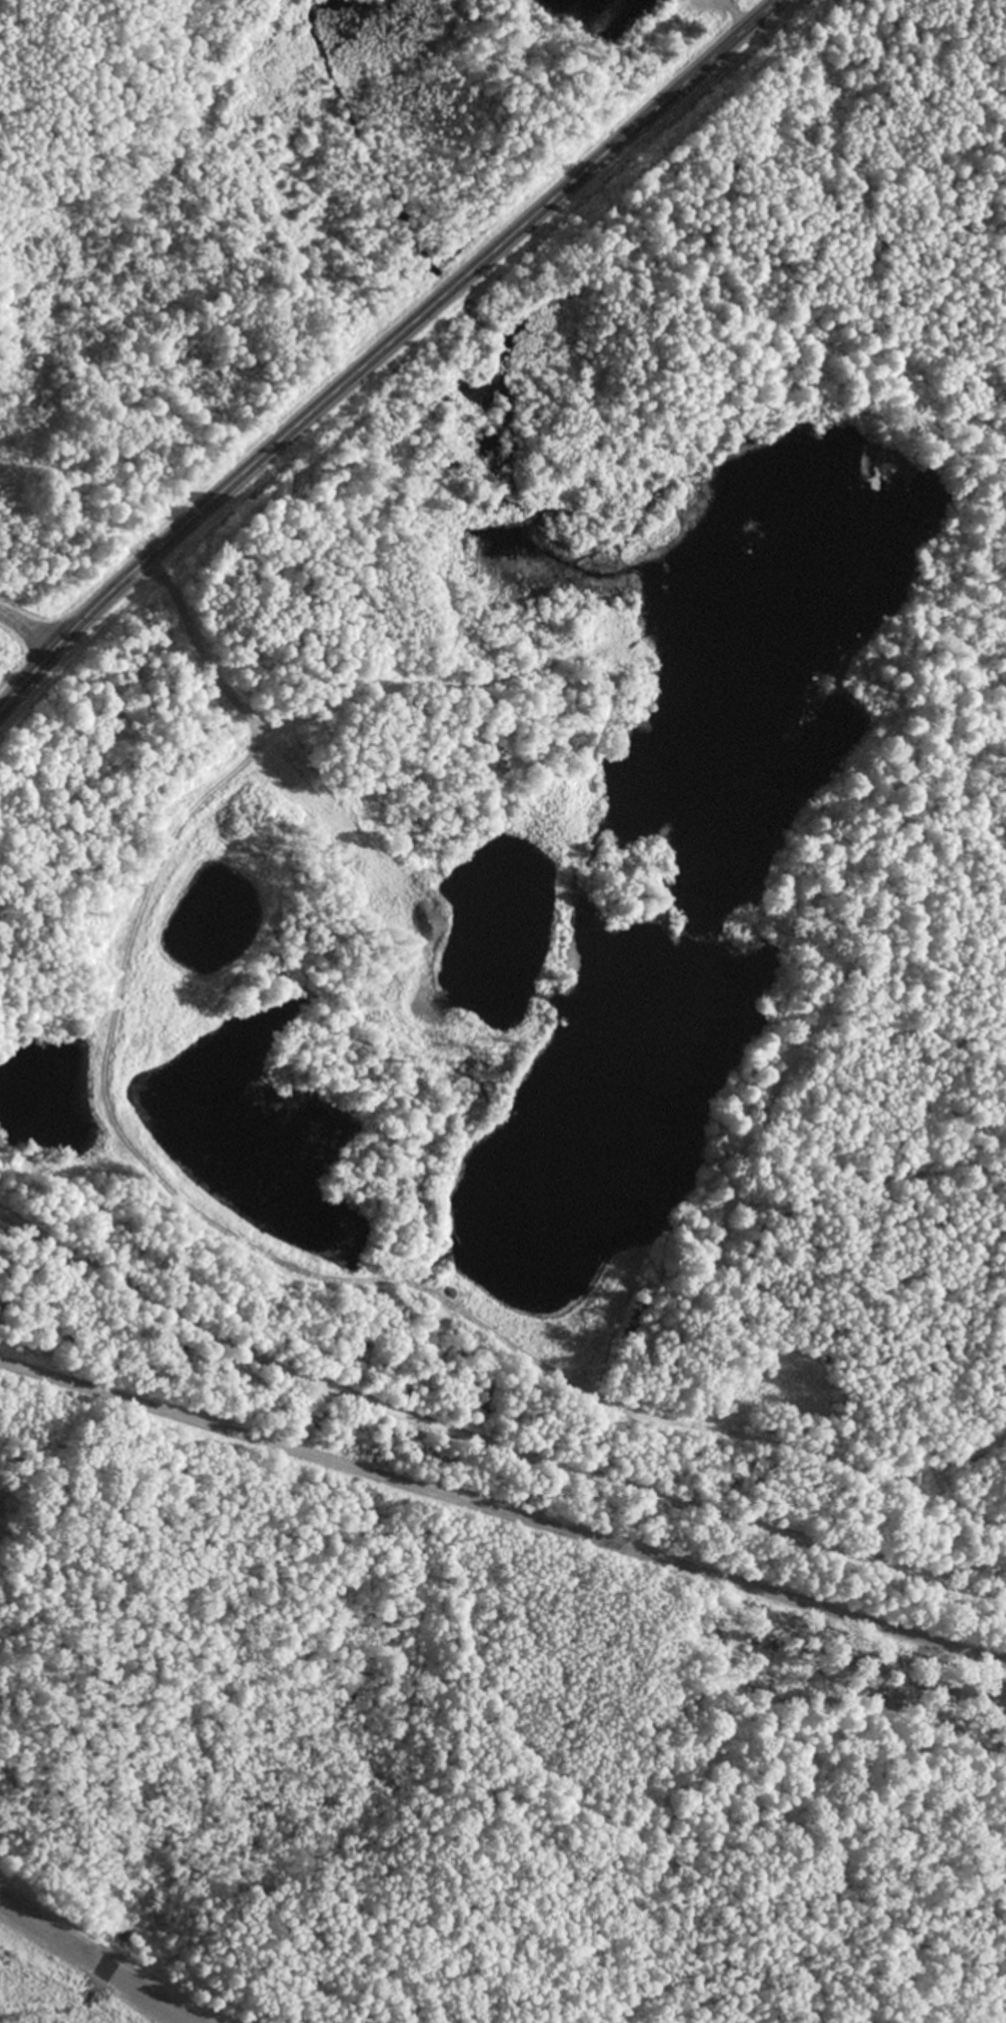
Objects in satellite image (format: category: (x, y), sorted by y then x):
road: (383, 350)
road: (28, 629)
road: (486, 1446)
road: (503, 1513)
road: (95, 1962)

